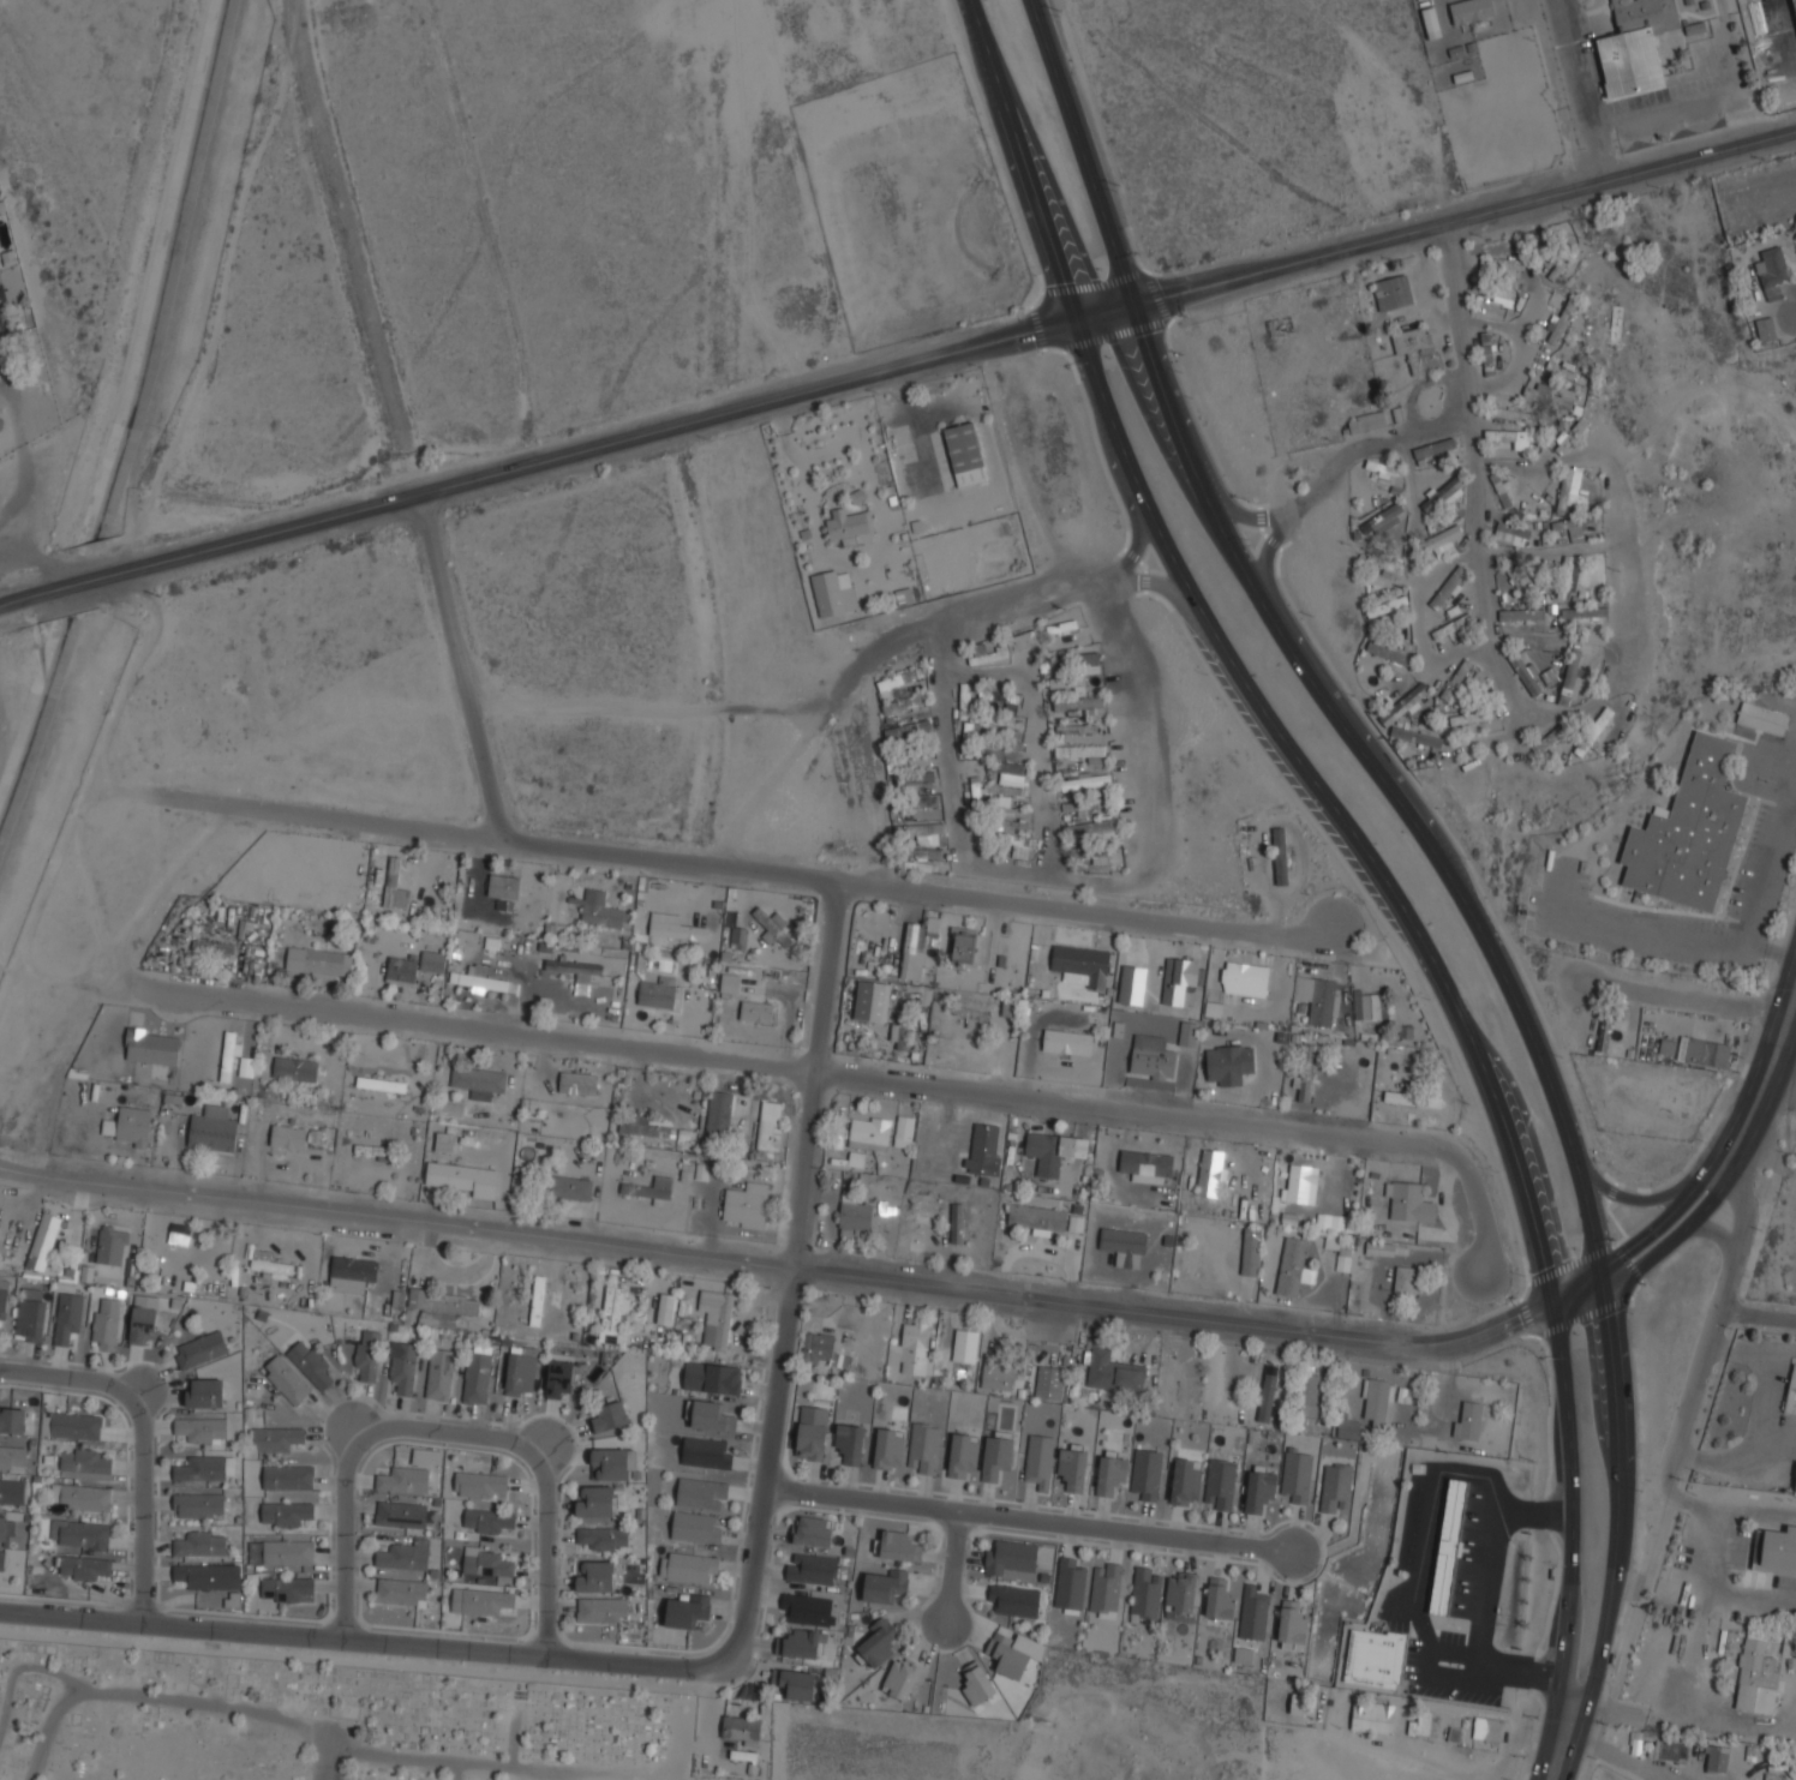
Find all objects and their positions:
building: (1471, 10)
building: (1430, 17)
building: (1773, 36)
building: (1635, 43)
road: (1581, 92)
building: (1503, 262)
building: (1772, 270)
building: (1493, 289)
building: (1393, 290)
traffic signals: (1131, 304)
traffic signals: (1073, 320)
building: (1561, 320)
building: (1765, 326)
building: (1418, 347)
building: (1487, 352)
road: (1150, 364)
road: (897, 365)
building: (1563, 370)
road: (1098, 394)
building: (1549, 395)
building: (1515, 413)
building: (1367, 420)
building: (1508, 434)
building: (1570, 434)
building: (1435, 447)
road: (1366, 450)
building: (965, 451)
road: (23, 453)
building: (1503, 490)
building: (1568, 491)
building: (1442, 492)
building: (1539, 514)
building: (1381, 517)
road: (1283, 523)
building: (849, 525)
building: (1571, 525)
building: (1513, 528)
building: (1438, 539)
building: (1445, 549)
building: (1391, 567)
building: (932, 568)
building: (1519, 579)
building: (1567, 579)
building: (1448, 587)
building: (833, 591)
building: (1385, 605)
building: (1584, 611)
building: (1520, 612)
building: (1451, 624)
building: (1061, 625)
road: (915, 635)
building: (1005, 646)
building: (1390, 651)
building: (1074, 658)
road: (459, 664)
building: (1528, 671)
building: (1549, 676)
building: (1456, 678)
building: (1570, 678)
building: (897, 679)
building: (1067, 681)
building: (999, 695)
building: (964, 696)
building: (1403, 702)
building: (900, 703)
building: (1082, 703)
road: (1515, 705)
building: (1471, 715)
building: (1761, 718)
building: (1002, 719)
building: (906, 727)
building: (1074, 727)
building: (1593, 730)
building: (968, 735)
building: (1417, 735)
building: (1550, 737)
building: (1004, 743)
building: (1080, 749)
building: (912, 751)
building: (1007, 766)
building: (914, 777)
building: (1085, 780)
building: (976, 783)
building: (1007, 787)
building: (914, 801)
building: (1080, 804)
building: (1014, 823)
building: (1092, 828)
building: (918, 829)
building: (1688, 829)
building: (1024, 845)
building: (921, 851)
building: (1280, 855)
road: (1054, 858)
road: (759, 868)
building: (395, 885)
building: (503, 887)
road: (1754, 893)
building: (603, 910)
building: (661, 913)
building: (673, 927)
building: (771, 928)
building: (740, 936)
building: (917, 941)
building: (963, 943)
building: (212, 946)
building: (432, 959)
building: (318, 961)
building: (1082, 964)
building: (401, 969)
building: (1179, 977)
building: (1245, 977)
building: (479, 978)
road: (1504, 978)
building: (582, 982)
building: (730, 982)
building: (1132, 982)
building: (657, 993)
road: (1687, 994)
building: (1321, 997)
building: (870, 1000)
building: (1371, 1003)
building: (756, 1011)
road: (1457, 1014)
building: (975, 1017)
building: (1189, 1032)
building: (1604, 1033)
building: (899, 1035)
building: (151, 1044)
building: (1064, 1047)
building: (1666, 1047)
building: (1705, 1050)
road: (1774, 1053)
building: (228, 1055)
building: (1151, 1056)
building: (1228, 1062)
building: (294, 1067)
building: (1306, 1073)
building: (479, 1079)
building: (577, 1081)
road: (884, 1081)
building: (381, 1083)
building: (1687, 1093)
building: (1412, 1097)
building: (719, 1108)
building: (771, 1123)
building: (132, 1125)
building: (648, 1127)
building: (211, 1128)
building: (904, 1129)
building: (869, 1132)
building: (287, 1135)
building: (444, 1140)
road: (1734, 1144)
building: (984, 1147)
building: (372, 1149)
building: (1054, 1149)
building: (701, 1171)
building: (1213, 1173)
building: (461, 1175)
building: (1303, 1182)
building: (569, 1186)
building: (649, 1187)
road: (1654, 1194)
building: (1409, 1200)
road: (1735, 1200)
building: (747, 1204)
building: (854, 1210)
building: (956, 1213)
building: (1046, 1216)
building: (1319, 1219)
building: (179, 1233)
road: (1714, 1233)
building: (42, 1242)
building: (113, 1242)
road: (1638, 1242)
road: (1672, 1242)
building: (1124, 1245)
building: (1381, 1247)
building: (1251, 1251)
building: (1192, 1253)
building: (1343, 1257)
road: (791, 1259)
traffic signals: (1600, 1264)
building: (271, 1265)
building: (1292, 1265)
building: (354, 1266)
road: (779, 1266)
building: (1405, 1278)
traffic signals: (1608, 1290)
road: (1580, 1295)
building: (4, 1296)
building: (538, 1299)
traffic signals: (1553, 1301)
building: (439, 1306)
building: (665, 1308)
road: (1755, 1312)
building: (31, 1313)
building: (67, 1314)
building: (613, 1314)
building: (142, 1320)
building: (724, 1320)
building: (104, 1323)
building: (964, 1346)
building: (200, 1348)
building: (820, 1350)
building: (914, 1350)
building: (367, 1353)
building: (310, 1361)
building: (402, 1365)
building: (520, 1371)
building: (1113, 1372)
building: (439, 1373)
building: (712, 1376)
building: (477, 1377)
building: (286, 1378)
building: (559, 1378)
building: (996, 1378)
road: (71, 1379)
road: (1693, 1379)
building: (1171, 1382)
building: (1048, 1383)
building: (204, 1392)
building: (1791, 1392)
building: (1268, 1395)
building: (1306, 1395)
building: (1375, 1400)
building: (609, 1415)
building: (710, 1415)
building: (12, 1419)
building: (1467, 1421)
building: (74, 1425)
building: (199, 1428)
building: (1348, 1428)
road: (447, 1432)
building: (812, 1432)
building: (276, 1439)
building: (849, 1443)
building: (923, 1448)
building: (887, 1449)
building: (705, 1452)
building: (12, 1454)
building: (962, 1455)
building: (995, 1457)
building: (85, 1460)
building: (1038, 1461)
building: (612, 1463)
building: (200, 1469)
building: (1072, 1469)
building: (1147, 1474)
building: (1109, 1475)
building: (1297, 1475)
building: (287, 1478)
building: (405, 1478)
building: (478, 1482)
building: (1185, 1482)
building: (1220, 1484)
building: (1795, 1486)
building: (1335, 1487)
building: (10, 1490)
building: (1258, 1491)
building: (700, 1493)
building: (80, 1496)
road: (1621, 1497)
road: (1569, 1498)
building: (593, 1500)
road: (140, 1505)
building: (198, 1505)
road: (1743, 1511)
building: (400, 1512)
building: (286, 1514)
road: (1025, 1516)
building: (489, 1520)
building: (2, 1526)
building: (694, 1527)
building: (812, 1532)
building: (79, 1533)
road: (347, 1533)
building: (601, 1538)
building: (199, 1544)
building: (899, 1546)
building: (1447, 1547)
building: (1778, 1550)
road: (546, 1552)
building: (405, 1554)
building: (1010, 1556)
building: (1, 1559)
building: (486, 1563)
road: (951, 1565)
building: (84, 1566)
building: (687, 1568)
building: (812, 1569)
building: (208, 1576)
building: (593, 1576)
building: (1068, 1584)
building: (884, 1586)
building: (286, 1588)
building: (401, 1590)
building: (1145, 1593)
building: (1179, 1593)
building: (480, 1599)
building: (1014, 1600)
building: (1219, 1600)
building: (806, 1608)
building: (601, 1610)
building: (686, 1611)
building: (1252, 1613)
building: (1292, 1623)
road: (376, 1642)
building: (879, 1642)
building: (802, 1643)
building: (1789, 1644)
building: (1005, 1656)
building: (1373, 1658)
road: (25, 1667)
building: (1756, 1673)
building: (903, 1678)
building: (797, 1684)
building: (976, 1684)
building: (1300, 1707)
road: (256, 1710)
building: (1371, 1716)
building: (1419, 1725)
park: (444, 1727)
building: (1487, 1728)
building: (741, 1730)
road: (513, 1734)
building: (1453, 1734)
road: (1563, 1738)
building: (1671, 1749)
road: (1616, 1752)
building: (1717, 1756)
road: (329, 1762)
road: (454, 1770)

